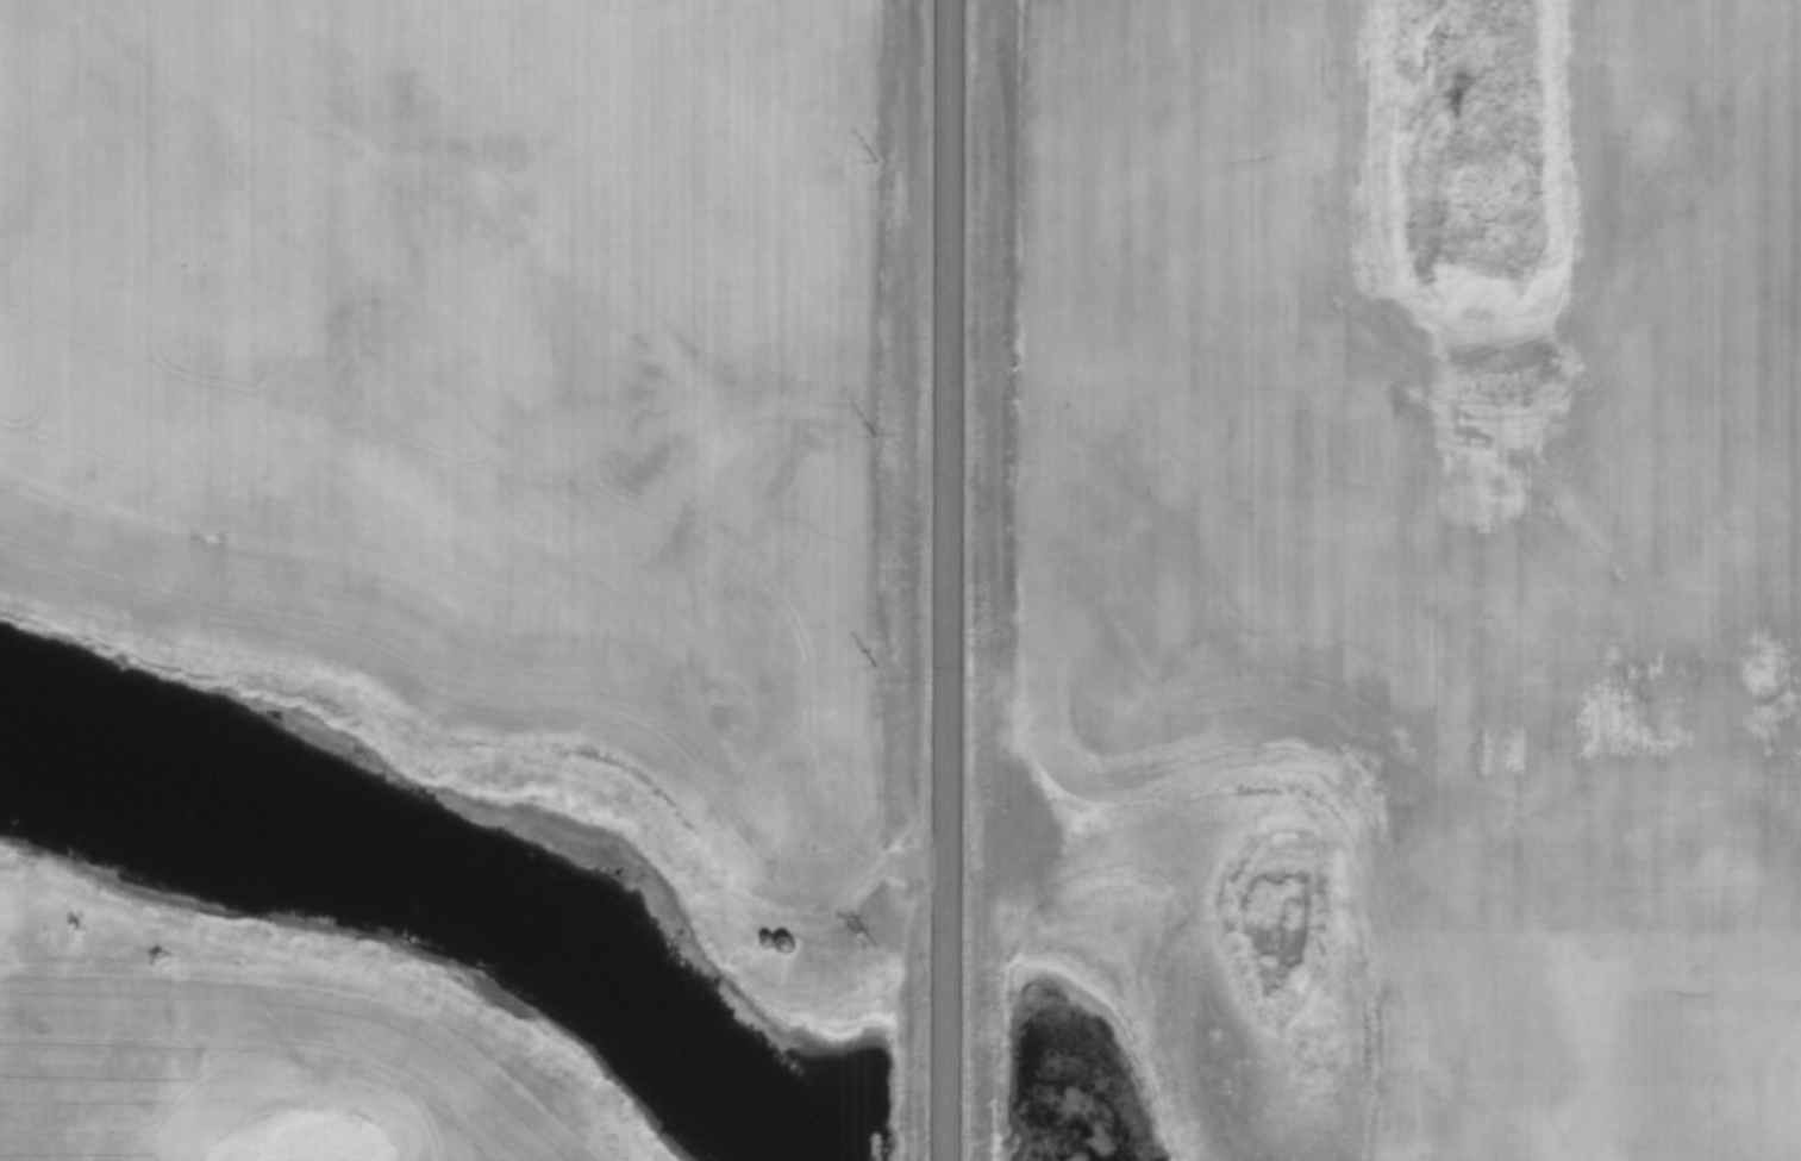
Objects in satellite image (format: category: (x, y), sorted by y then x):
road: (948, 580)
building: (777, 944)

